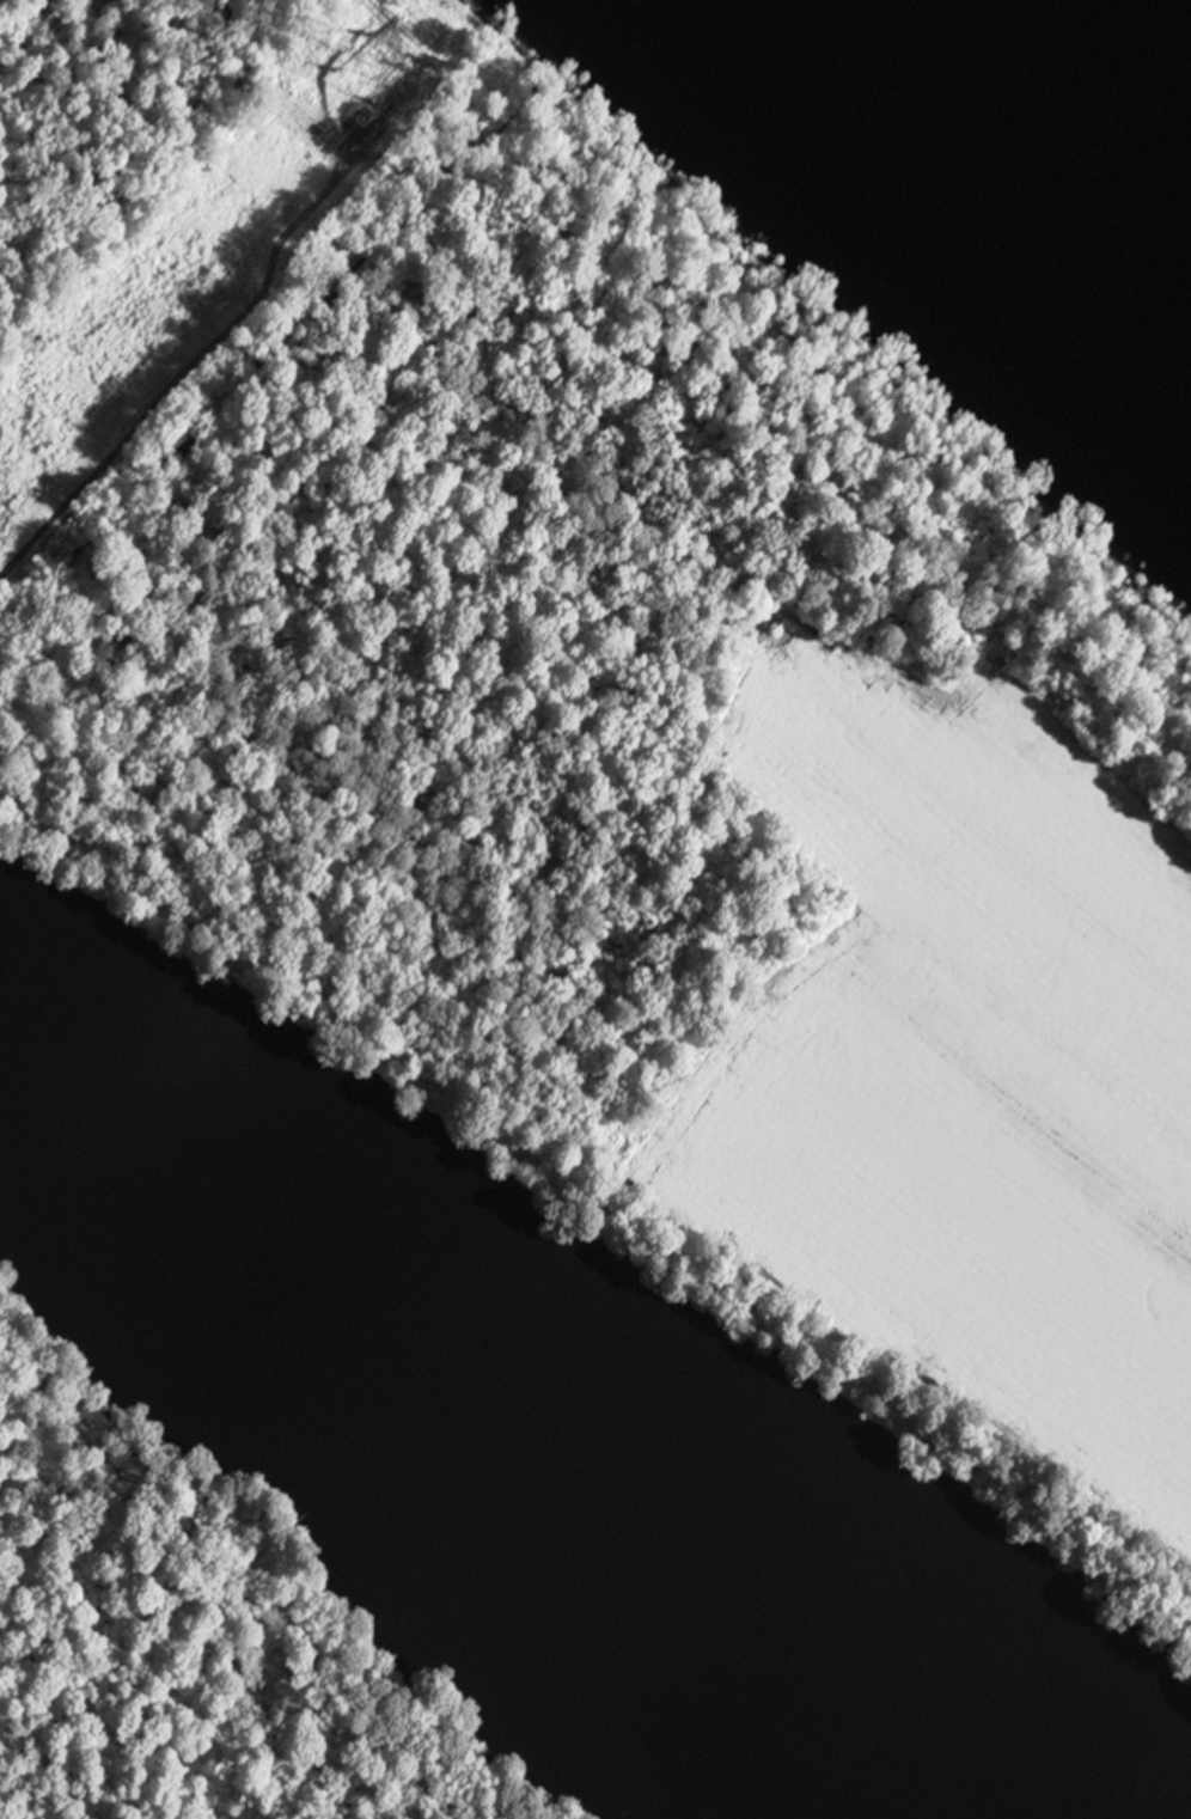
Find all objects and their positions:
power tower: (386, 68)

